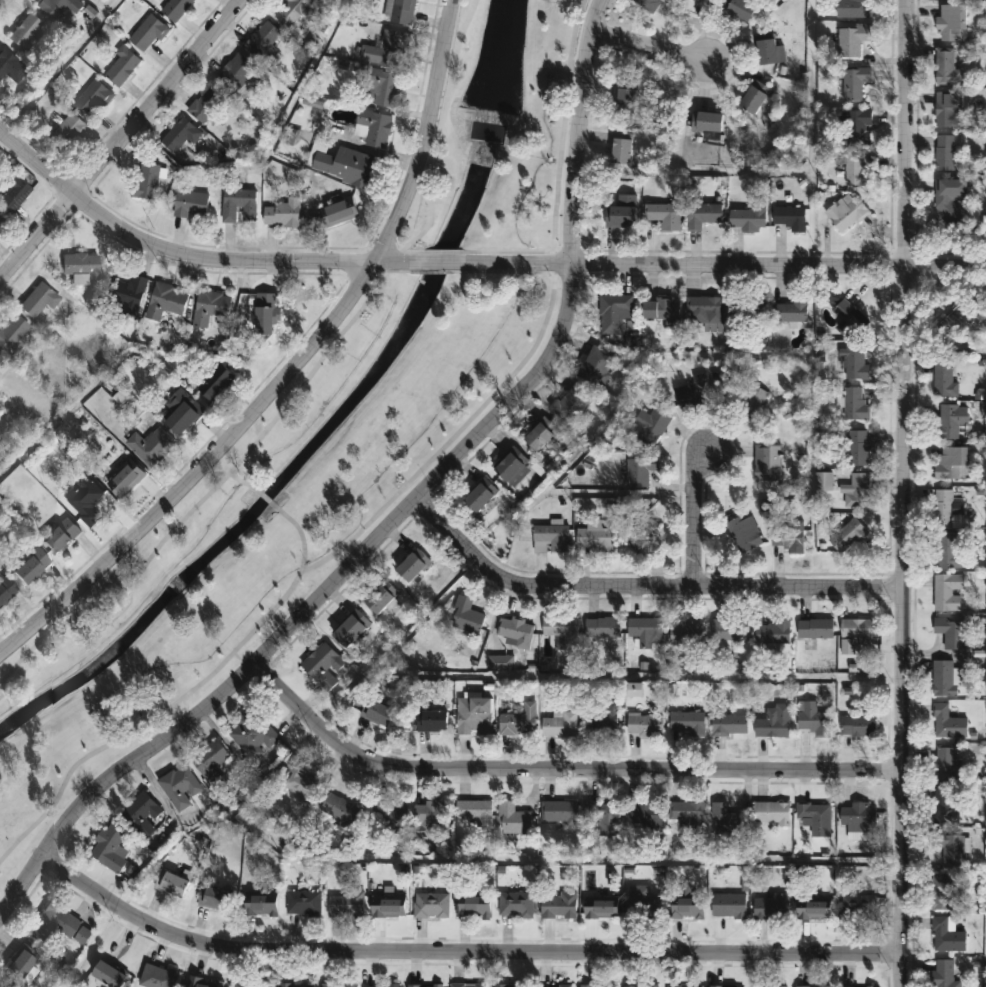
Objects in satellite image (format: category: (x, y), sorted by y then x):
building: (647, 5)
building: (59, 7)
building: (172, 7)
building: (739, 9)
building: (853, 9)
building: (296, 11)
building: (403, 11)
building: (951, 23)
road: (708, 24)
building: (25, 32)
building: (148, 33)
road: (645, 34)
building: (852, 38)
building: (263, 40)
building: (390, 49)
building: (766, 52)
road: (56, 64)
building: (122, 66)
building: (10, 67)
building: (946, 68)
building: (237, 71)
building: (854, 83)
building: (382, 86)
building: (754, 98)
building: (92, 99)
building: (625, 100)
building: (206, 104)
building: (948, 110)
building: (707, 122)
building: (372, 128)
building: (859, 128)
road: (0, 129)
building: (67, 133)
building: (180, 136)
road: (119, 137)
road: (438, 138)
road: (269, 148)
building: (620, 151)
building: (945, 153)
building: (346, 165)
building: (854, 168)
road: (558, 170)
building: (146, 181)
building: (12, 193)
building: (951, 200)
building: (191, 204)
building: (239, 205)
building: (846, 211)
building: (338, 212)
building: (621, 212)
building: (283, 213)
building: (664, 214)
building: (702, 214)
building: (748, 216)
building: (789, 217)
building: (1, 221)
road: (441, 251)
road: (184, 254)
road: (434, 262)
road: (721, 264)
building: (80, 268)
road: (432, 271)
building: (127, 295)
building: (164, 300)
building: (37, 302)
building: (209, 307)
building: (749, 309)
building: (661, 310)
building: (790, 310)
building: (613, 311)
building: (705, 311)
building: (265, 313)
building: (847, 317)
building: (953, 319)
building: (11, 332)
road: (701, 352)
building: (0, 359)
road: (114, 360)
building: (850, 361)
building: (596, 364)
road: (286, 365)
building: (944, 379)
building: (216, 384)
building: (693, 390)
building: (751, 401)
building: (571, 403)
building: (855, 404)
building: (181, 411)
building: (951, 420)
building: (651, 425)
park: (322, 427)
building: (540, 436)
building: (150, 445)
building: (858, 447)
building: (764, 462)
building: (951, 463)
building: (512, 468)
building: (640, 469)
building: (125, 480)
building: (824, 481)
road: (242, 484)
road: (220, 485)
building: (856, 491)
road: (752, 492)
road: (899, 493)
building: (480, 495)
road: (264, 497)
building: (85, 500)
road: (400, 507)
building: (943, 507)
road: (692, 513)
building: (744, 532)
road: (298, 533)
building: (639, 534)
building: (848, 535)
building: (60, 537)
building: (789, 537)
building: (551, 538)
building: (593, 539)
building: (948, 549)
road: (336, 553)
building: (412, 565)
building: (30, 566)
road: (638, 583)
building: (6, 589)
building: (947, 591)
building: (380, 597)
road: (848, 601)
building: (465, 616)
building: (600, 627)
building: (350, 628)
building: (815, 628)
building: (645, 629)
building: (729, 629)
building: (561, 630)
building: (951, 630)
building: (514, 631)
building: (688, 632)
building: (773, 632)
building: (852, 635)
road: (394, 638)
road: (875, 648)
building: (323, 665)
road: (640, 675)
building: (945, 678)
building: (377, 712)
building: (473, 715)
building: (813, 718)
building: (601, 719)
building: (431, 720)
building: (518, 720)
building: (774, 721)
building: (688, 722)
building: (947, 722)
building: (560, 723)
building: (644, 723)
building: (730, 724)
building: (858, 726)
building: (252, 734)
building: (210, 762)
building: (944, 763)
road: (555, 764)
building: (300, 780)
building: (179, 786)
building: (946, 805)
building: (339, 808)
building: (387, 808)
building: (473, 810)
building: (559, 810)
building: (430, 813)
building: (771, 813)
building: (141, 814)
building: (688, 814)
building: (646, 817)
building: (817, 817)
building: (858, 817)
building: (513, 818)
building: (606, 819)
building: (726, 820)
building: (109, 846)
building: (948, 847)
road: (175, 849)
road: (503, 857)
building: (171, 883)
building: (943, 891)
building: (213, 897)
building: (302, 902)
building: (685, 902)
building: (259, 904)
building: (516, 904)
building: (644, 904)
building: (344, 905)
building: (432, 905)
building: (559, 905)
building: (728, 905)
building: (387, 906)
building: (473, 906)
building: (771, 906)
building: (859, 907)
building: (600, 908)
building: (813, 910)
building: (59, 924)
building: (946, 934)
road: (457, 949)
building: (22, 965)
building: (107, 974)
building: (944, 974)
building: (155, 977)
building: (203, 982)
building: (251, 984)
building: (293, 985)
building: (338, 985)
building: (381, 985)
building: (425, 985)
building: (468, 985)
building: (501, 985)
building: (600, 985)
building: (554, 986)
building: (641, 986)
building: (682, 986)
building: (726, 986)
building: (813, 986)
building: (857, 986)

